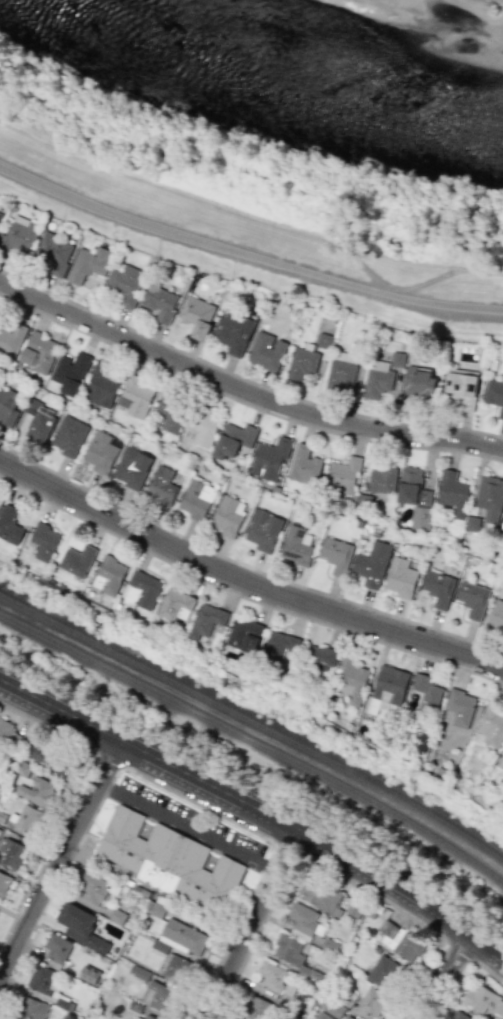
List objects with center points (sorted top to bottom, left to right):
river: (292, 67)
building: (0, 212)
road: (246, 217)
building: (19, 234)
building: (52, 253)
road: (247, 254)
building: (87, 264)
building: (125, 284)
road: (398, 293)
building: (159, 301)
building: (196, 316)
building: (232, 332)
building: (11, 338)
building: (323, 341)
building: (38, 351)
building: (266, 351)
building: (397, 359)
building: (301, 363)
building: (341, 371)
building: (70, 372)
building: (377, 379)
building: (418, 380)
building: (101, 385)
building: (460, 388)
road: (244, 391)
building: (494, 394)
building: (136, 396)
building: (7, 406)
building: (170, 411)
building: (36, 420)
building: (201, 428)
building: (69, 436)
building: (235, 438)
building: (100, 452)
building: (269, 459)
building: (304, 465)
building: (132, 468)
building: (343, 475)
building: (382, 479)
building: (161, 485)
building: (412, 488)
building: (452, 493)
building: (196, 498)
building: (489, 498)
building: (227, 515)
building: (502, 515)
building: (420, 518)
building: (9, 525)
building: (263, 530)
building: (43, 541)
building: (296, 545)
building: (335, 555)
building: (75, 560)
building: (372, 564)
building: (107, 575)
building: (400, 578)
road: (244, 581)
building: (438, 588)
building: (140, 590)
building: (472, 599)
building: (172, 603)
building: (495, 617)
building: (205, 620)
building: (243, 634)
building: (280, 648)
building: (318, 657)
building: (352, 679)
building: (389, 685)
building: (426, 697)
railway: (253, 704)
building: (460, 707)
railway: (254, 723)
building: (491, 725)
building: (8, 735)
railway: (255, 742)
building: (502, 749)
building: (47, 759)
building: (22, 769)
building: (37, 793)
road: (257, 809)
building: (28, 819)
road: (187, 826)
building: (11, 854)
building: (171, 861)
road: (55, 862)
building: (4, 883)
building: (91, 889)
road: (154, 893)
building: (320, 895)
building: (305, 920)
road: (252, 924)
building: (81, 926)
building: (178, 937)
building: (400, 941)
building: (57, 948)
building: (288, 949)
building: (176, 969)
building: (385, 973)
building: (89, 974)
road: (443, 976)
building: (272, 977)
building: (42, 980)
building: (160, 997)
building: (483, 1000)
building: (372, 1002)
building: (257, 1008)
building: (32, 1009)
building: (330, 1010)
building: (459, 1015)
building: (149, 1017)
building: (136, 1018)
building: (347, 1018)

